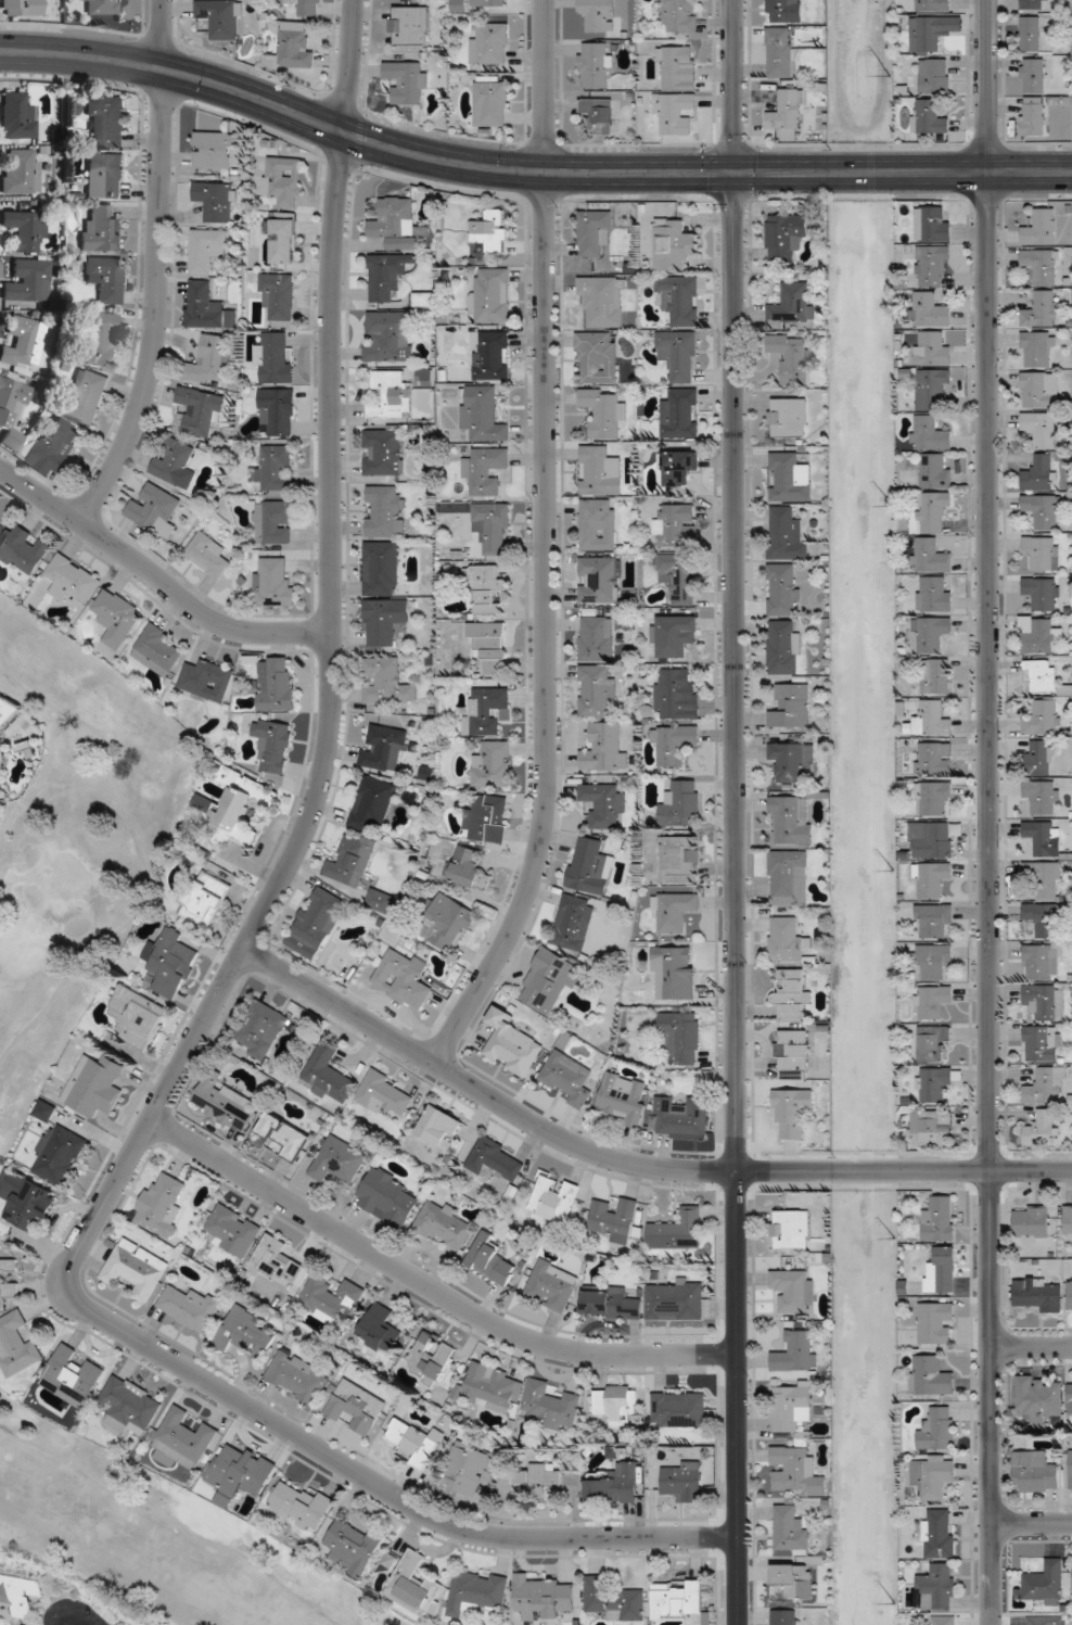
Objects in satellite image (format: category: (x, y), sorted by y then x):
building: (489, 2)
building: (930, 4)
building: (1030, 4)
building: (97, 7)
building: (306, 7)
building: (22, 8)
building: (784, 10)
building: (598, 14)
building: (679, 15)
building: (220, 17)
building: (409, 24)
building: (931, 33)
building: (1030, 33)
building: (489, 43)
building: (292, 47)
building: (779, 51)
building: (596, 64)
building: (678, 66)
building: (934, 75)
building: (1032, 75)
building: (407, 80)
road: (733, 86)
building: (492, 103)
building: (676, 111)
building: (599, 113)
building: (788, 114)
building: (17, 115)
building: (1033, 115)
building: (930, 116)
building: (106, 119)
road: (361, 139)
building: (213, 149)
building: (22, 172)
road: (903, 172)
traffic signals: (735, 173)
building: (105, 175)
building: (282, 180)
building: (216, 200)
building: (396, 223)
building: (933, 223)
building: (1041, 227)
building: (25, 229)
building: (101, 230)
building: (492, 230)
building: (595, 231)
building: (282, 236)
building: (784, 236)
building: (674, 244)
building: (206, 249)
building: (932, 264)
building: (1042, 266)
road: (156, 268)
building: (386, 274)
building: (105, 278)
building: (28, 280)
building: (278, 294)
building: (492, 295)
building: (423, 297)
building: (679, 299)
building: (602, 300)
building: (203, 304)
building: (792, 304)
building: (1042, 308)
building: (930, 309)
building: (387, 335)
building: (99, 338)
building: (21, 342)
building: (932, 347)
building: (1037, 348)
building: (679, 354)
building: (493, 356)
building: (597, 356)
building: (792, 357)
building: (208, 359)
building: (932, 388)
building: (1039, 389)
building: (86, 394)
building: (387, 394)
building: (11, 408)
building: (200, 410)
building: (603, 410)
building: (276, 411)
building: (483, 412)
building: (680, 414)
building: (788, 417)
building: (1039, 428)
building: (930, 432)
building: (54, 447)
building: (383, 450)
building: (175, 462)
building: (678, 466)
building: (275, 467)
building: (486, 469)
building: (599, 470)
building: (935, 471)
building: (1039, 472)
building: (790, 477)
building: (155, 508)
building: (932, 510)
building: (385, 511)
building: (1043, 511)
building: (273, 521)
building: (598, 523)
building: (0, 524)
building: (676, 524)
building: (493, 525)
building: (784, 533)
road: (546, 544)
building: (23, 549)
building: (1042, 551)
building: (207, 555)
building: (930, 555)
building: (381, 568)
building: (678, 575)
road: (155, 577)
building: (72, 579)
building: (598, 579)
building: (272, 583)
building: (486, 587)
building: (782, 587)
building: (1043, 592)
building: (933, 594)
building: (116, 617)
building: (384, 621)
building: (930, 633)
building: (675, 634)
building: (1041, 635)
building: (596, 638)
building: (490, 646)
building: (784, 646)
building: (158, 648)
building: (1043, 674)
building: (935, 675)
building: (206, 680)
building: (386, 681)
building: (276, 683)
building: (596, 690)
building: (675, 694)
building: (791, 706)
building: (486, 710)
building: (1043, 716)
building: (932, 719)
building: (2, 744)
building: (273, 744)
building: (673, 744)
building: (383, 747)
building: (603, 748)
building: (1039, 756)
building: (933, 757)
building: (791, 759)
building: (493, 763)
building: (1042, 796)
building: (934, 798)
building: (372, 803)
building: (602, 803)
building: (681, 803)
building: (239, 805)
road: (988, 812)
building: (488, 817)
building: (791, 817)
building: (1045, 837)
building: (932, 839)
park: (76, 842)
road: (138, 856)
building: (679, 859)
building: (352, 860)
building: (589, 865)
building: (465, 866)
building: (788, 877)
building: (931, 878)
building: (1046, 878)
building: (204, 899)
road: (737, 899)
building: (674, 911)
building: (1045, 918)
building: (933, 919)
building: (445, 921)
building: (316, 922)
building: (573, 922)
building: (786, 938)
building: (934, 961)
building: (1041, 961)
building: (169, 963)
building: (676, 968)
building: (403, 978)
building: (549, 980)
building: (792, 993)
building: (1045, 1000)
building: (933, 1001)
building: (137, 1016)
road: (205, 1016)
building: (260, 1029)
building: (680, 1037)
building: (933, 1042)
building: (1042, 1042)
building: (511, 1043)
building: (793, 1053)
building: (327, 1072)
building: (567, 1078)
building: (936, 1082)
building: (1045, 1084)
building: (94, 1086)
building: (384, 1093)
building: (624, 1096)
building: (224, 1102)
building: (792, 1109)
building: (680, 1115)
building: (441, 1126)
building: (932, 1127)
building: (1043, 1128)
building: (283, 1134)
building: (58, 1154)
building: (336, 1159)
building: (493, 1159)
road: (630, 1163)
building: (386, 1196)
building: (27, 1198)
building: (553, 1198)
building: (161, 1205)
building: (614, 1218)
building: (939, 1219)
building: (1031, 1221)
building: (1068, 1221)
building: (443, 1226)
building: (790, 1229)
building: (232, 1230)
building: (677, 1230)
building: (490, 1259)
building: (276, 1260)
building: (943, 1268)
building: (136, 1269)
building: (2, 1275)
building: (552, 1284)
road: (429, 1287)
building: (794, 1290)
building: (1070, 1293)
building: (1036, 1294)
building: (329, 1297)
building: (676, 1299)
building: (610, 1302)
building: (190, 1307)
building: (936, 1322)
building: (380, 1328)
building: (245, 1333)
building: (17, 1344)
road: (1031, 1346)
building: (795, 1351)
building: (430, 1358)
building: (74, 1372)
building: (930, 1375)
building: (297, 1376)
building: (492, 1388)
building: (1038, 1397)
building: (1070, 1397)
building: (130, 1404)
building: (616, 1404)
building: (550, 1405)
building: (356, 1407)
building: (790, 1407)
building: (678, 1408)
building: (939, 1429)
building: (183, 1437)
building: (414, 1440)
building: (1071, 1465)
building: (465, 1468)
building: (244, 1470)
building: (795, 1471)
building: (1035, 1472)
building: (933, 1474)
building: (682, 1481)
building: (531, 1482)
building: (615, 1485)
building: (301, 1507)
road: (173, 1521)
road: (1031, 1522)
building: (790, 1531)
building: (939, 1533)
park: (153, 1536)
building: (353, 1548)
building: (794, 1579)
building: (1045, 1583)
building: (414, 1585)
building: (939, 1586)
building: (476, 1591)
building: (543, 1597)
building: (615, 1599)
building: (678, 1599)
building: (784, 1616)
building: (945, 1620)
building: (1045, 1620)
road: (63, 1624)

